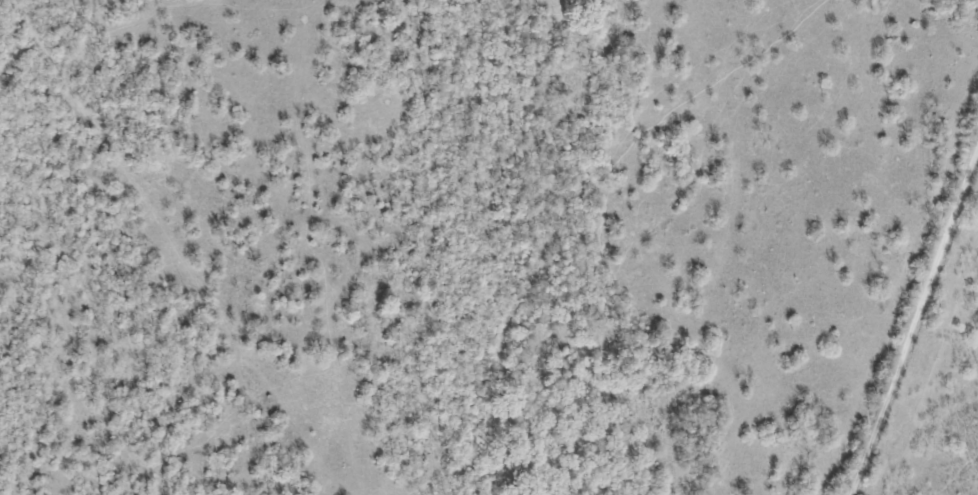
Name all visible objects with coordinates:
road: (912, 313)

